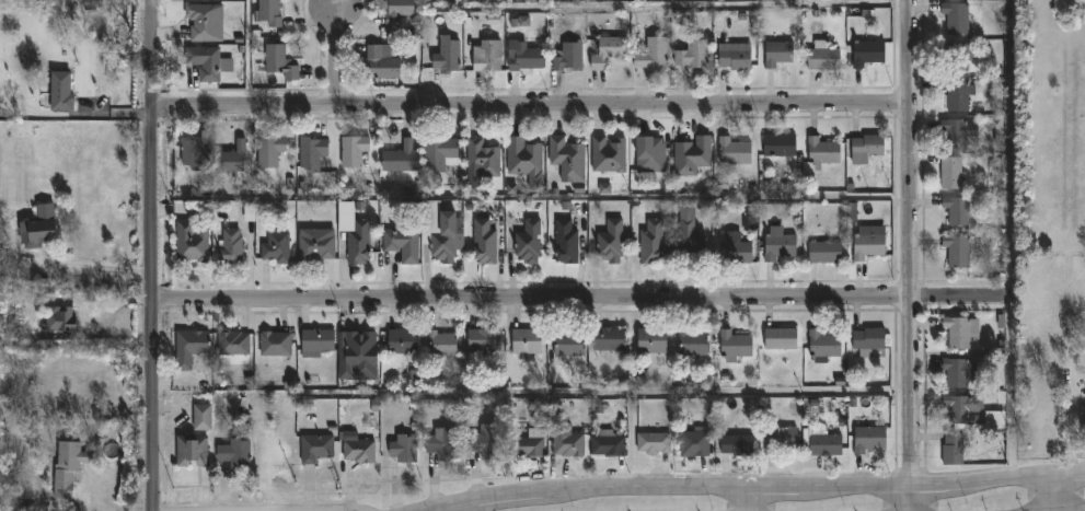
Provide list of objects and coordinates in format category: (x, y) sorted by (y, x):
building: (94, 2)
building: (401, 10)
building: (270, 12)
building: (965, 19)
building: (203, 22)
building: (523, 22)
building: (610, 51)
building: (869, 53)
building: (654, 54)
building: (696, 54)
building: (777, 54)
road: (338, 55)
building: (448, 55)
building: (735, 56)
building: (490, 57)
building: (570, 57)
building: (823, 57)
building: (959, 58)
building: (527, 59)
building: (208, 62)
building: (277, 62)
building: (382, 62)
building: (61, 93)
building: (958, 96)
road: (531, 104)
building: (955, 132)
building: (781, 146)
building: (274, 147)
building: (867, 149)
building: (197, 150)
building: (821, 150)
building: (354, 151)
building: (735, 152)
building: (314, 153)
building: (441, 153)
building: (609, 155)
building: (651, 155)
building: (693, 156)
building: (401, 158)
building: (234, 159)
building: (568, 159)
building: (526, 161)
building: (482, 163)
building: (951, 173)
building: (722, 186)
building: (604, 188)
building: (639, 210)
building: (955, 210)
building: (249, 212)
building: (42, 229)
building: (441, 232)
building: (355, 234)
building: (690, 234)
building: (403, 242)
building: (485, 242)
building: (612, 242)
building: (192, 243)
building: (530, 243)
building: (567, 243)
building: (653, 243)
building: (776, 244)
building: (866, 244)
building: (231, 247)
building: (277, 248)
building: (316, 248)
building: (736, 249)
building: (957, 249)
building: (821, 253)
road: (153, 255)
road: (911, 255)
road: (94, 267)
road: (585, 298)
building: (61, 320)
building: (959, 332)
building: (610, 339)
building: (780, 339)
building: (868, 339)
building: (485, 341)
building: (316, 342)
building: (528, 342)
building: (653, 342)
building: (234, 344)
building: (276, 344)
building: (402, 344)
building: (568, 345)
building: (441, 346)
building: (693, 346)
building: (822, 346)
building: (735, 347)
building: (192, 348)
building: (358, 357)
building: (954, 372)
building: (961, 408)
building: (1082, 417)
building: (204, 418)
building: (994, 419)
building: (870, 438)
building: (781, 439)
building: (567, 441)
building: (486, 443)
building: (655, 443)
building: (822, 443)
building: (528, 444)
building: (695, 444)
building: (446, 445)
building: (609, 445)
building: (739, 446)
building: (315, 448)
building: (359, 448)
building: (193, 449)
building: (405, 450)
building: (235, 451)
building: (951, 451)
building: (69, 467)
road: (754, 487)
road: (1055, 492)
road: (746, 499)
road: (470, 506)
road: (257, 510)

